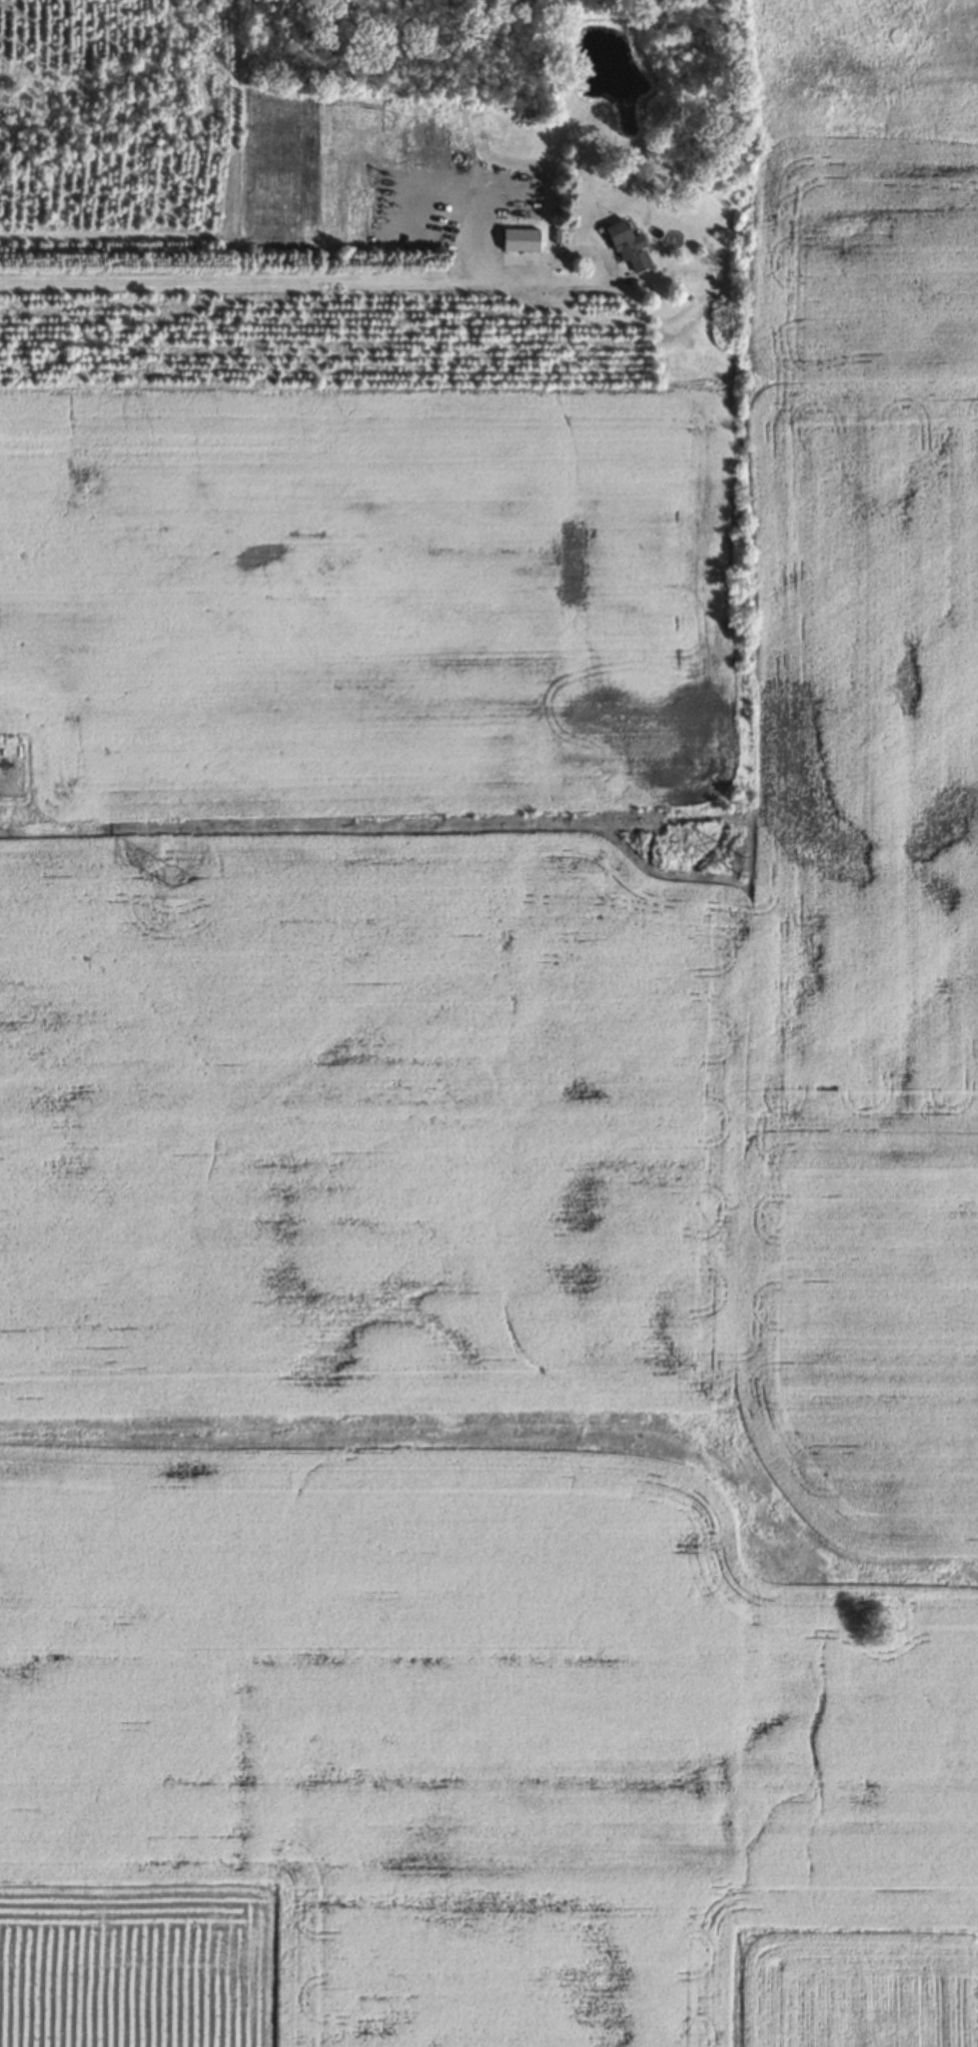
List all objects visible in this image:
building: (520, 238)
building: (628, 245)
power tower: (740, 859)
power tower: (170, 873)

